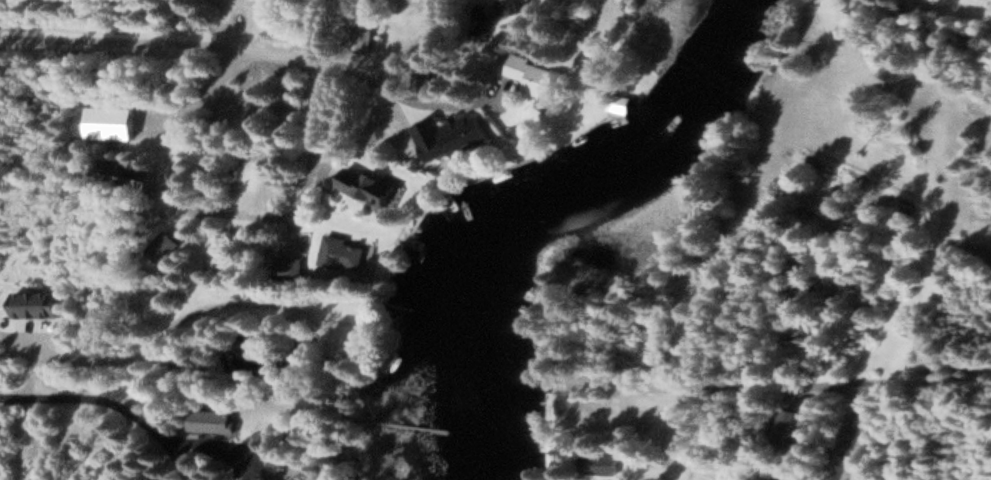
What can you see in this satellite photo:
building: (263, 17)
road: (279, 42)
building: (536, 76)
building: (453, 139)
building: (126, 174)
building: (366, 185)
river: (533, 192)
building: (161, 246)
building: (341, 252)
building: (286, 267)
building: (310, 308)
building: (341, 338)
road: (277, 373)
road: (809, 394)
road: (119, 409)
building: (210, 419)
building: (794, 424)
building: (600, 462)

